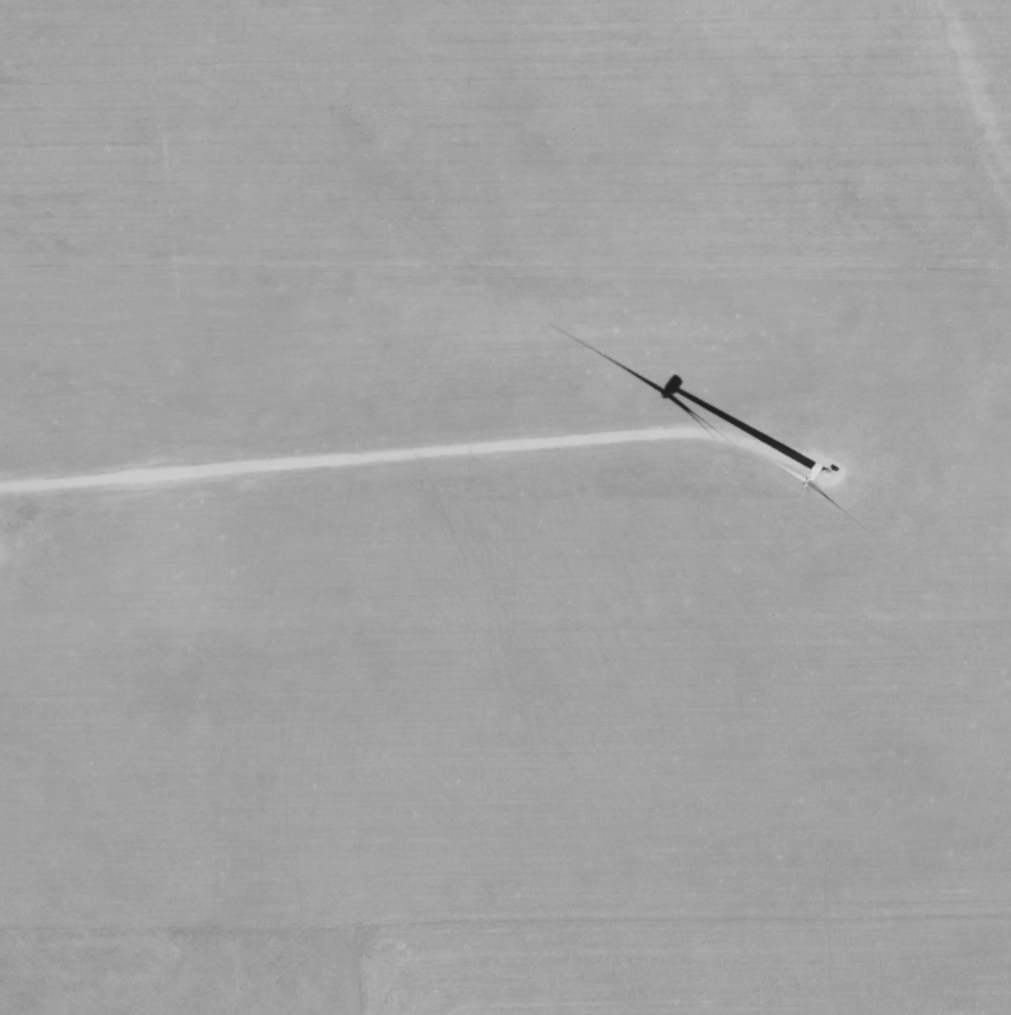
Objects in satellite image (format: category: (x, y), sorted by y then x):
wind turbine: (825, 468)

